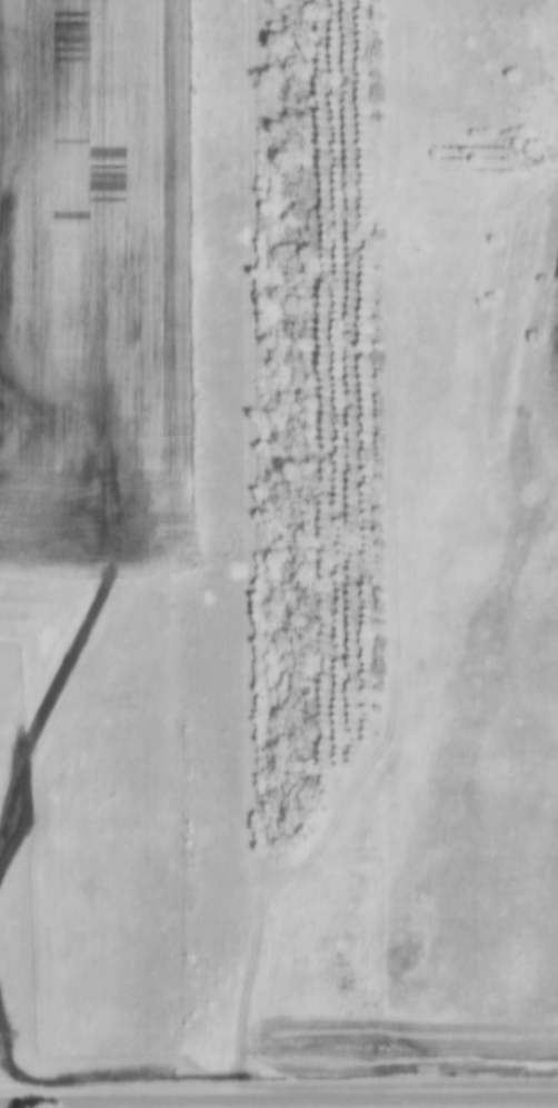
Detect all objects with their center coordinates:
road: (279, 1105)

